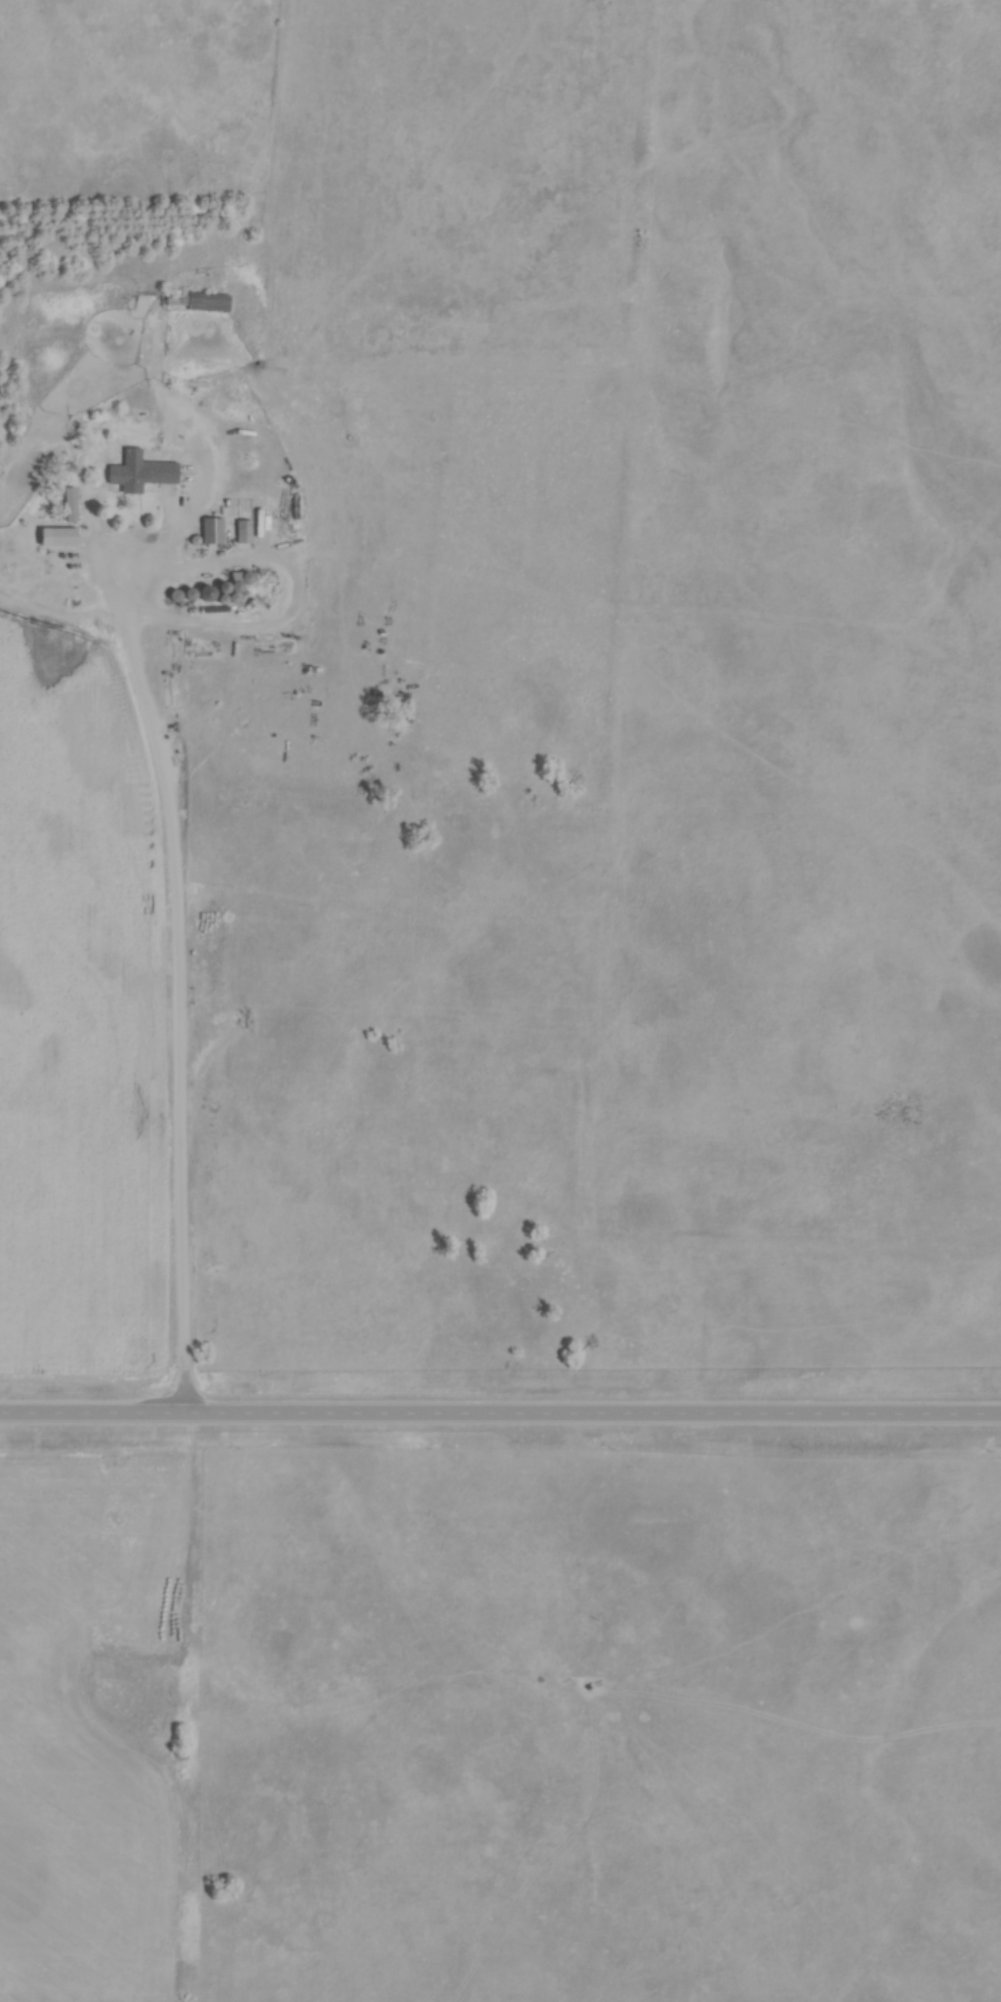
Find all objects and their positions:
building: (137, 474)
building: (67, 507)
building: (209, 533)
building: (242, 537)
building: (185, 596)
road: (176, 966)
road: (500, 1413)

